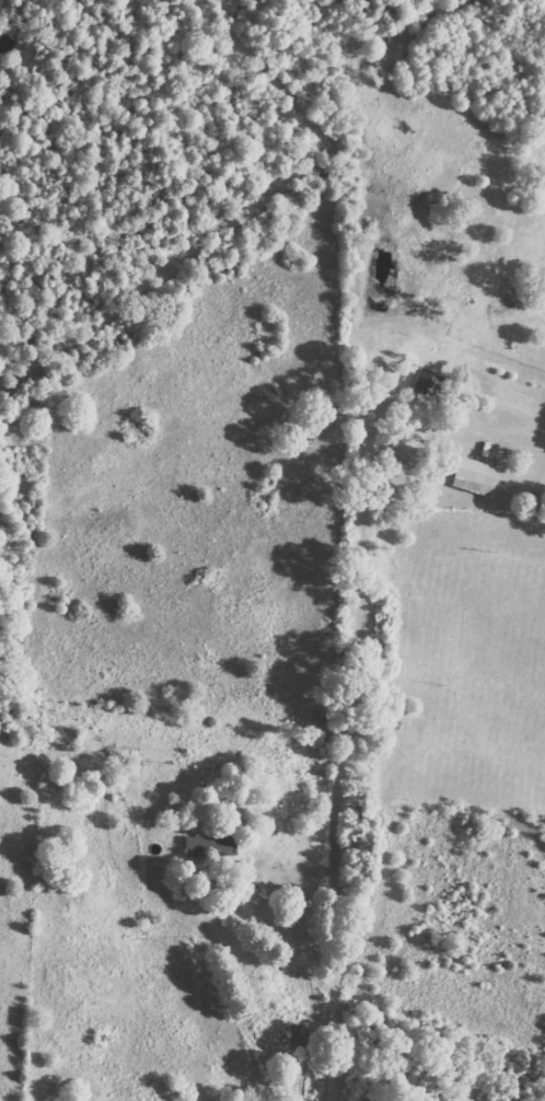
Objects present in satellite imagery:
road: (40, 16)
road: (54, 169)
building: (472, 477)
road: (40, 556)
road: (20, 616)
building: (297, 1035)

